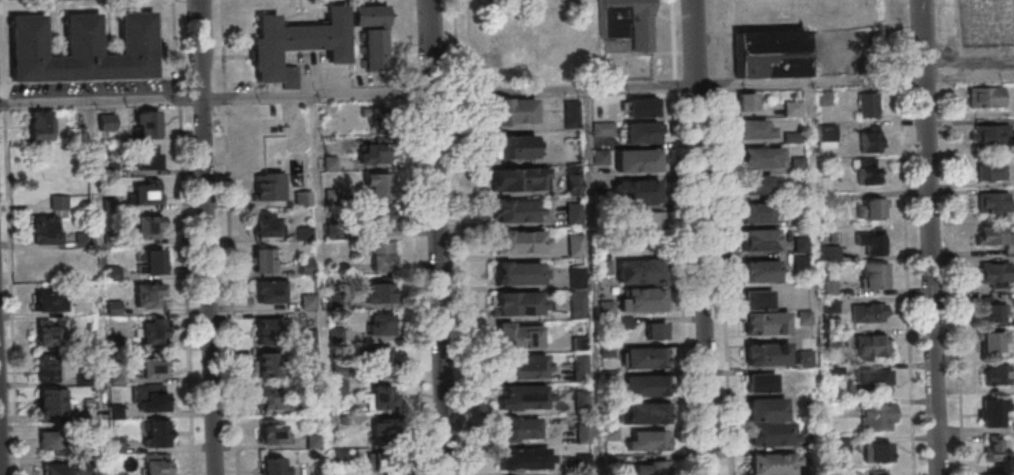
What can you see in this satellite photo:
road: (19, 0)
road: (1, 1)
building: (628, 22)
building: (372, 34)
building: (745, 39)
building: (297, 44)
building: (86, 48)
building: (774, 51)
road: (971, 63)
road: (815, 82)
road: (569, 90)
building: (985, 97)
road: (218, 100)
building: (747, 101)
building: (869, 104)
building: (646, 106)
building: (793, 108)
building: (518, 110)
building: (378, 118)
building: (147, 124)
building: (40, 126)
building: (603, 128)
building: (759, 129)
building: (645, 131)
building: (792, 136)
building: (989, 136)
building: (827, 137)
building: (869, 139)
building: (515, 147)
building: (376, 154)
building: (149, 156)
building: (600, 156)
building: (766, 156)
building: (641, 160)
building: (866, 170)
building: (989, 171)
building: (516, 179)
building: (574, 181)
building: (756, 184)
building: (267, 186)
building: (377, 186)
building: (641, 191)
building: (146, 193)
building: (302, 198)
building: (59, 202)
building: (993, 204)
building: (870, 208)
building: (515, 211)
building: (757, 212)
building: (574, 213)
building: (380, 219)
building: (647, 219)
building: (265, 225)
building: (149, 227)
building: (46, 229)
building: (992, 235)
road: (186, 237)
road: (210, 237)
road: (234, 237)
road: (442, 237)
road: (684, 237)
road: (706, 237)
road: (726, 237)
road: (934, 237)
building: (764, 239)
building: (871, 241)
building: (523, 242)
building: (575, 245)
building: (831, 252)
building: (382, 256)
building: (264, 260)
building: (150, 261)
building: (604, 266)
building: (760, 270)
building: (644, 271)
building: (528, 274)
building: (996, 274)
building: (874, 275)
building: (576, 276)
road: (911, 276)
road: (960, 281)
building: (271, 291)
building: (378, 292)
building: (149, 295)
building: (646, 299)
building: (761, 299)
building: (49, 302)
building: (526, 304)
building: (578, 304)
building: (868, 312)
building: (991, 312)
building: (380, 324)
building: (764, 325)
building: (266, 330)
building: (656, 330)
building: (152, 331)
building: (49, 333)
building: (521, 337)
building: (992, 341)
building: (871, 345)
building: (771, 354)
building: (377, 357)
building: (649, 358)
building: (266, 364)
building: (529, 366)
building: (153, 368)
building: (49, 369)
building: (580, 373)
building: (997, 374)
building: (611, 375)
building: (761, 382)
building: (877, 382)
building: (649, 385)
building: (524, 396)
building: (380, 397)
building: (272, 398)
building: (582, 400)
building: (153, 401)
building: (51, 404)
road: (2, 409)
building: (771, 410)
building: (994, 412)
building: (651, 414)
building: (878, 417)
building: (526, 428)
building: (383, 430)
building: (273, 432)
building: (156, 433)
building: (584, 433)
building: (776, 435)
building: (49, 440)
building: (651, 441)
building: (993, 448)
building: (878, 452)
building: (529, 459)
building: (385, 463)
building: (156, 464)
building: (777, 464)
building: (274, 466)
building: (652, 468)
building: (64, 469)
building: (880, 472)
building: (993, 474)

